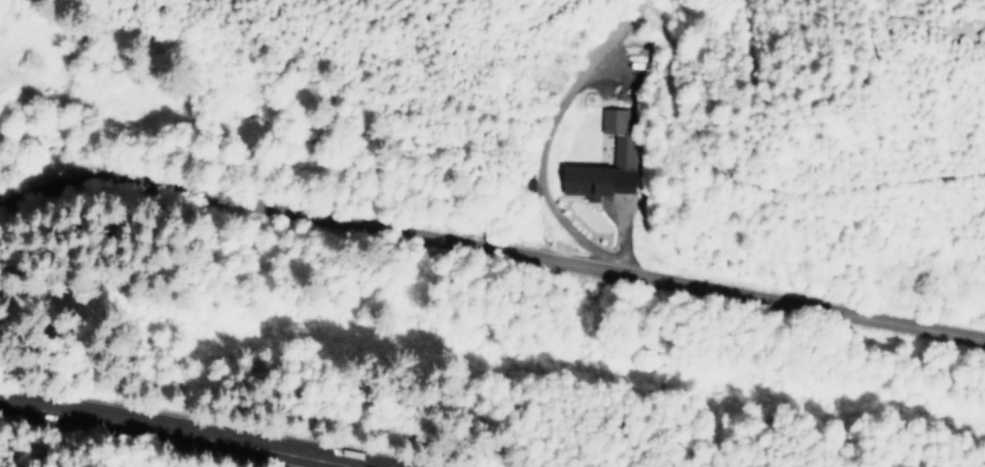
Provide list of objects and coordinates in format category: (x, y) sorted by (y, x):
building: (620, 147)
road: (493, 246)
road: (205, 422)
road: (400, 466)

